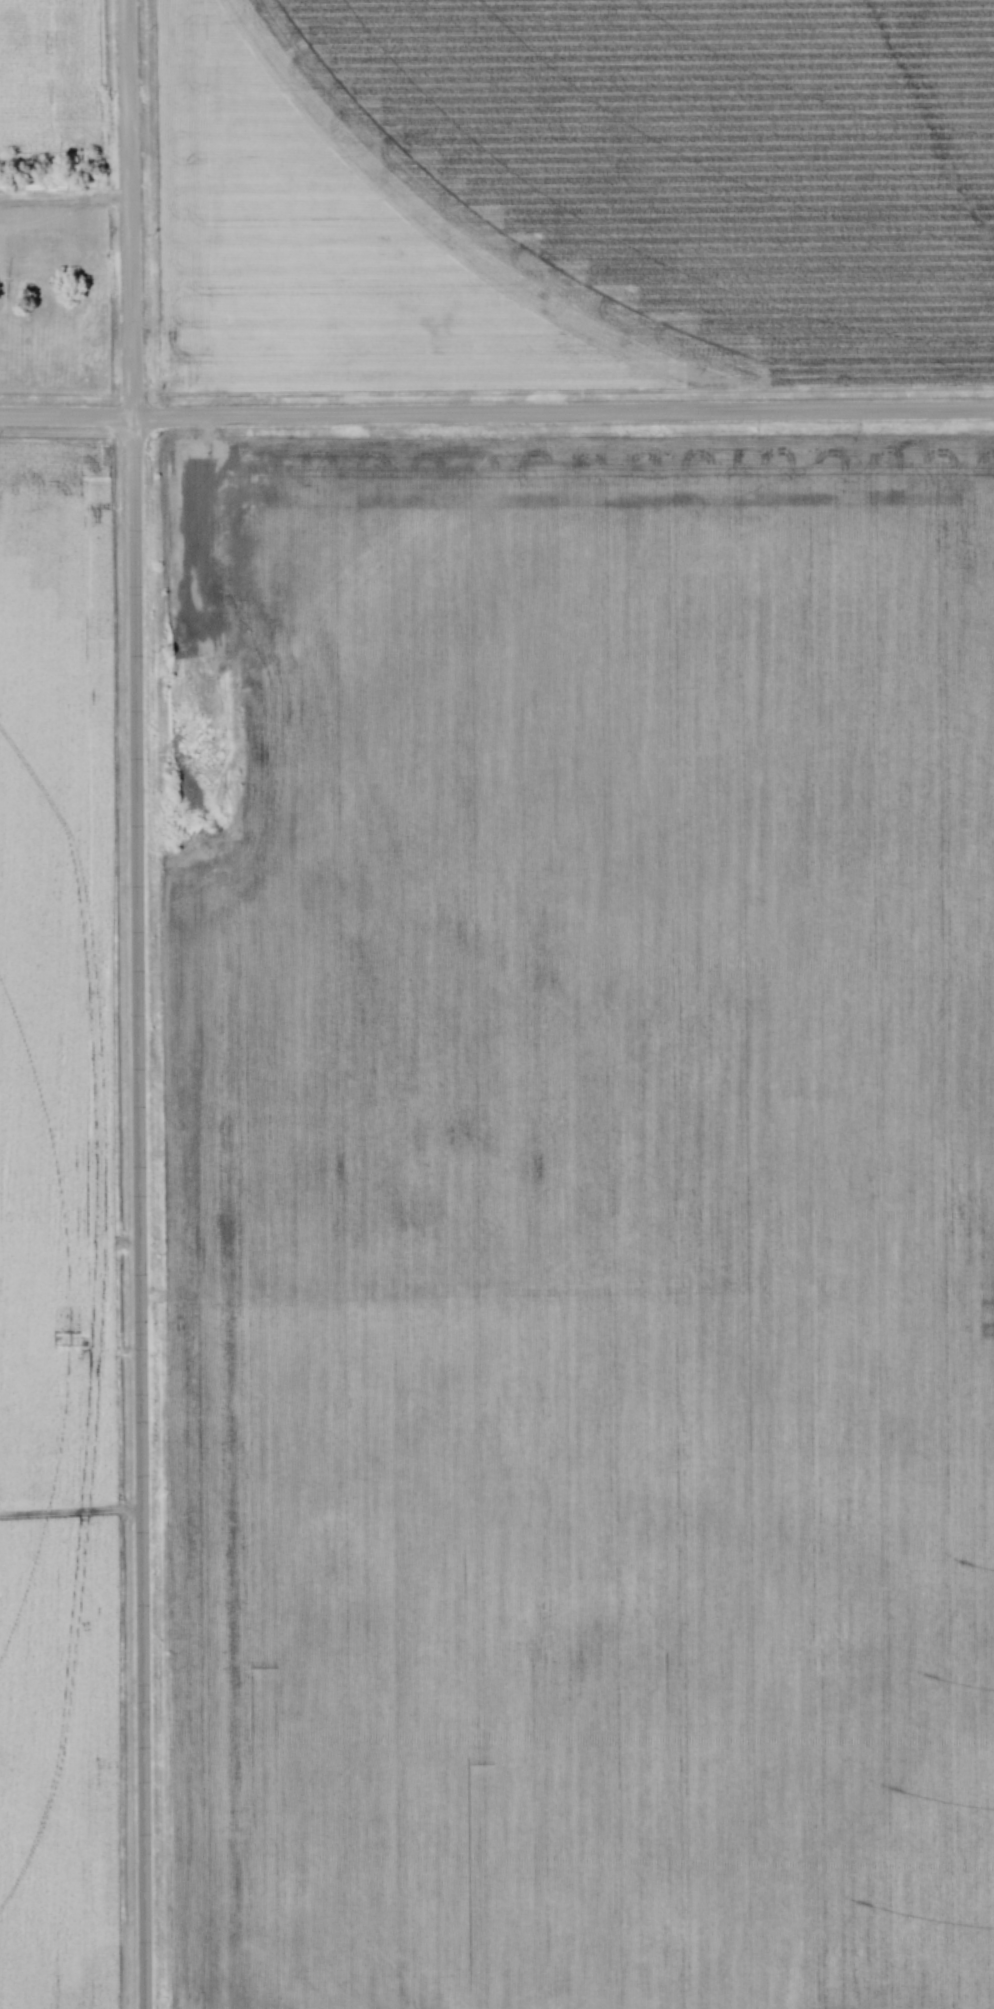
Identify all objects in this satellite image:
road: (126, 211)
road: (497, 420)
road: (133, 1216)

